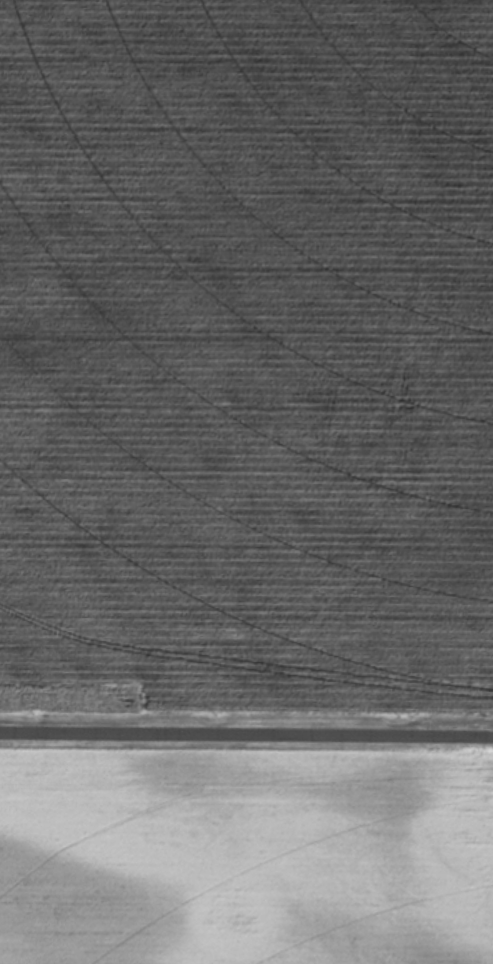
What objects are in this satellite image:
road: (246, 740)

